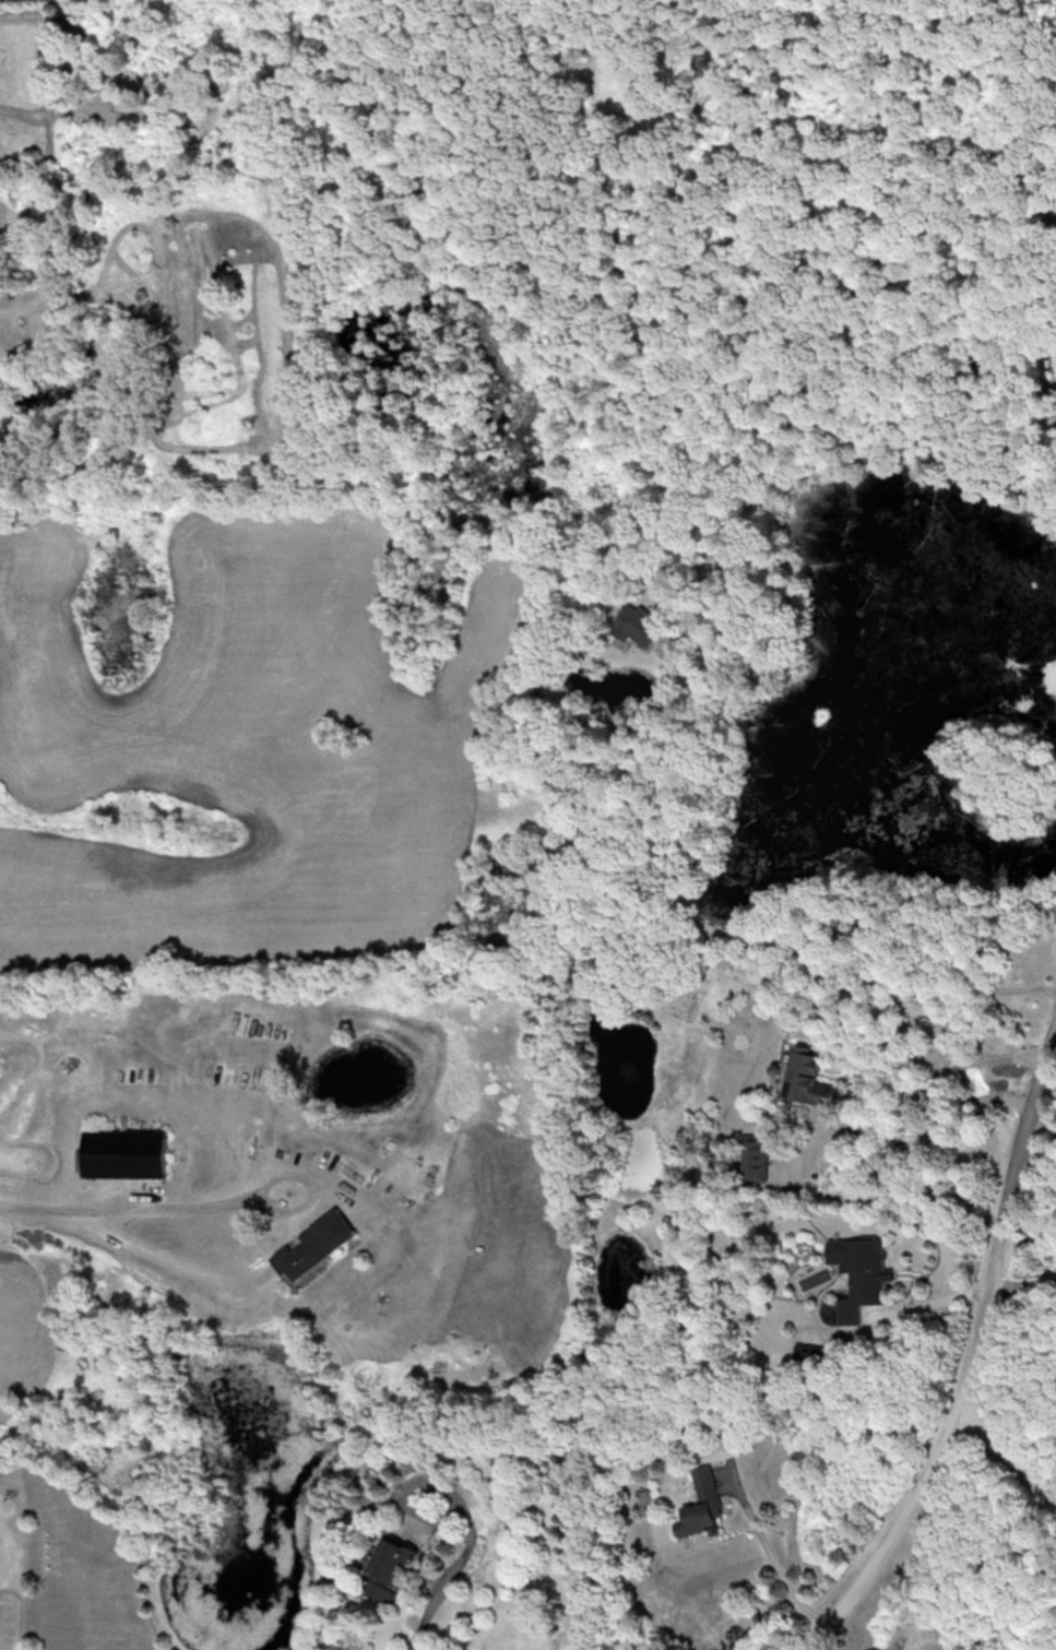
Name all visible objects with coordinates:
building: (639, 625)
road: (858, 1060)
building: (805, 1077)
road: (932, 1084)
road: (1039, 1128)
building: (124, 1153)
building: (754, 1160)
road: (119, 1210)
building: (315, 1245)
building: (859, 1273)
road: (1021, 1284)
road: (923, 1303)
building: (805, 1354)
road: (973, 1355)
road: (1007, 1459)
building: (700, 1503)
road: (773, 1559)
building: (387, 1568)
road: (423, 1617)
road: (811, 1648)

